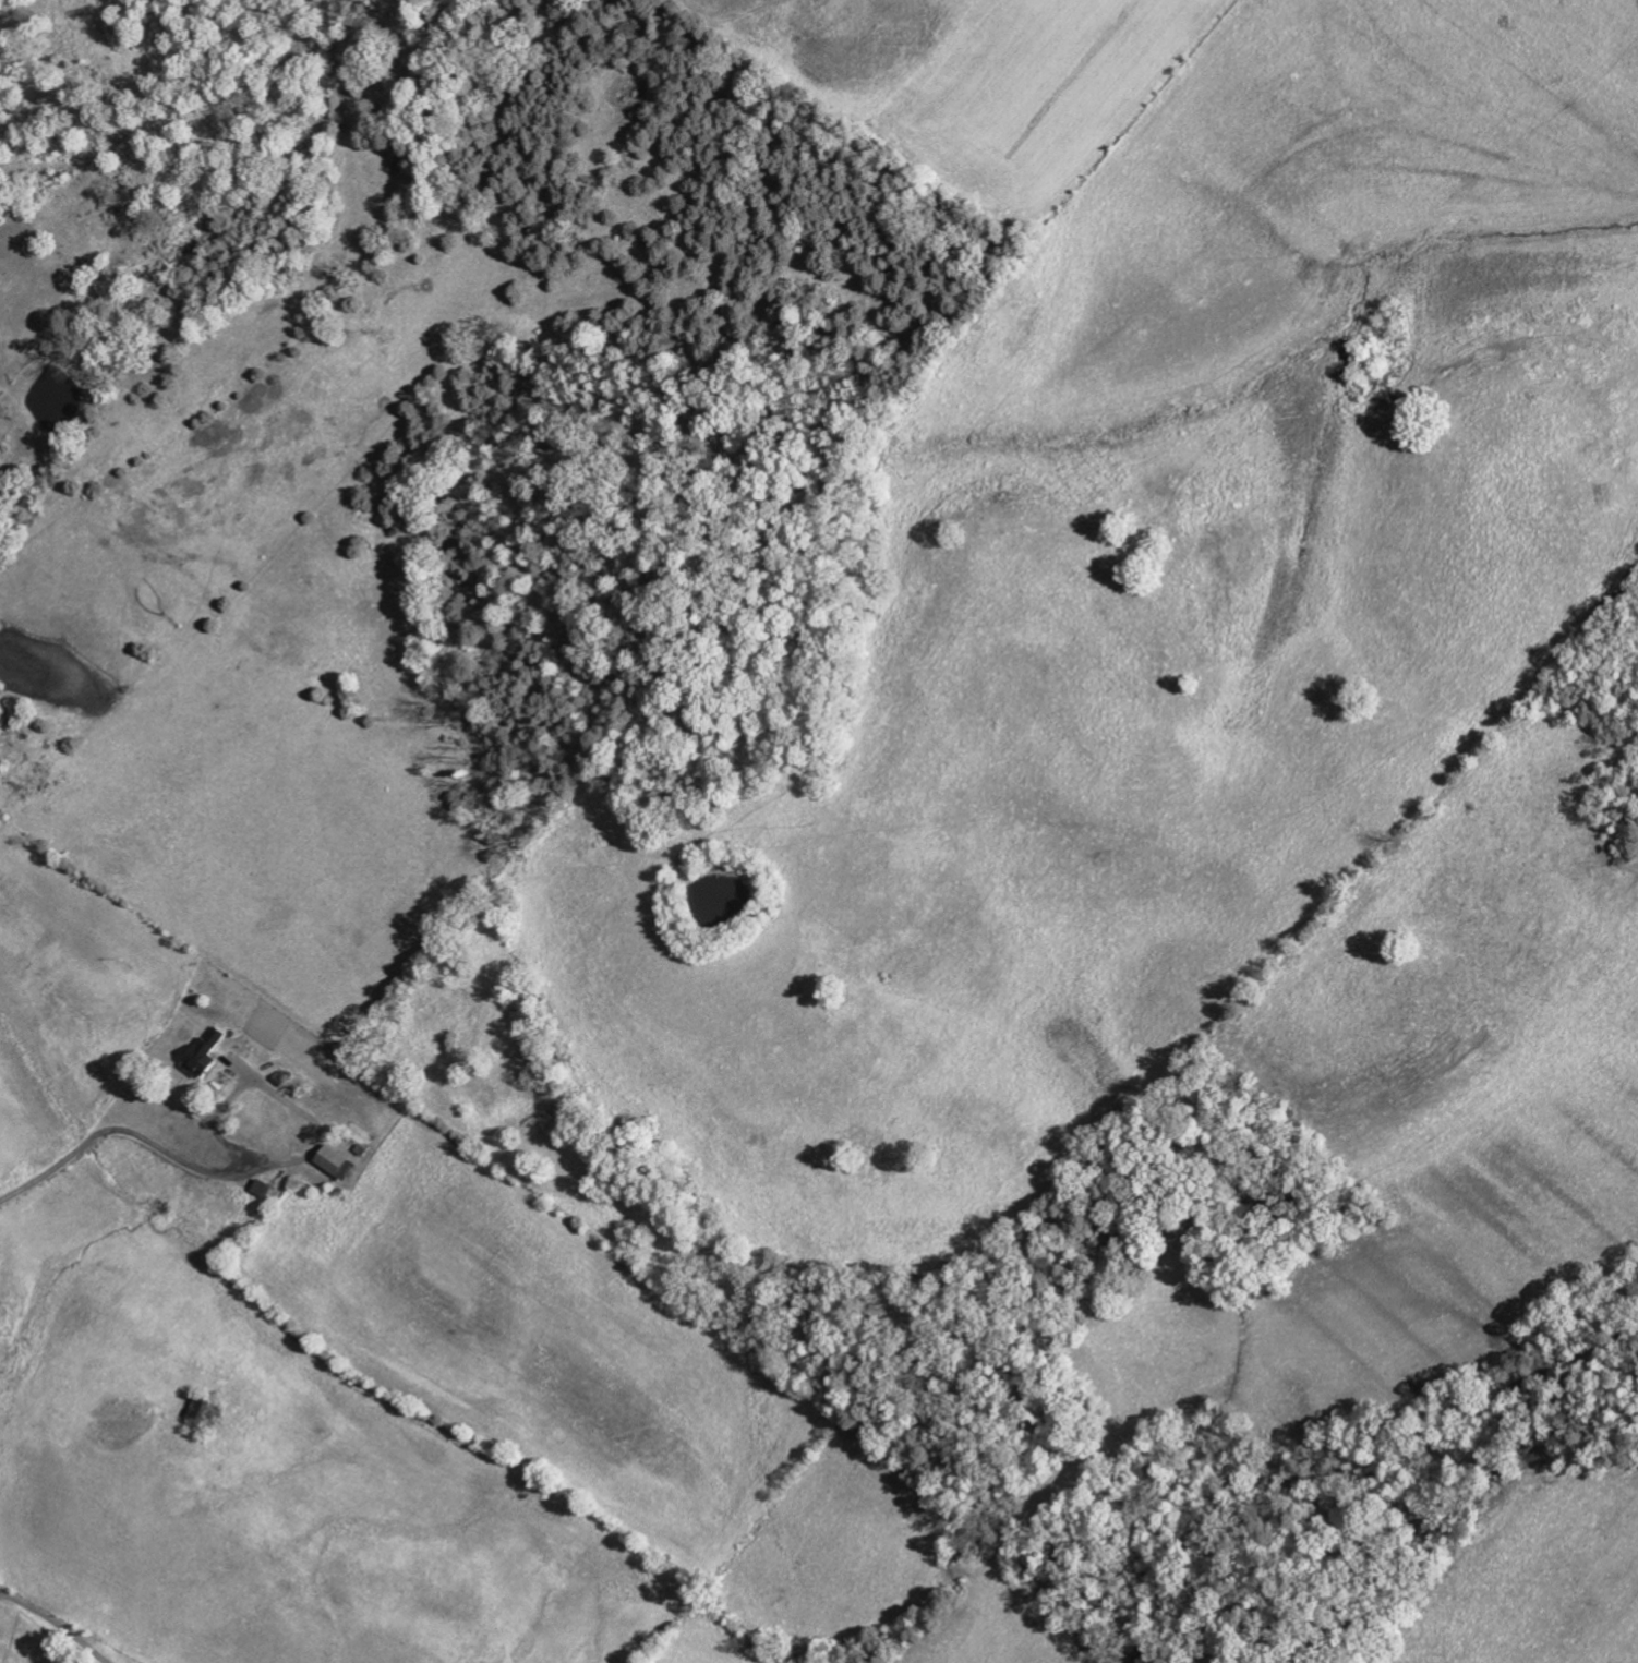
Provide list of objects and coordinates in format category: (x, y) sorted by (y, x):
building: (206, 1053)
building: (336, 1159)

